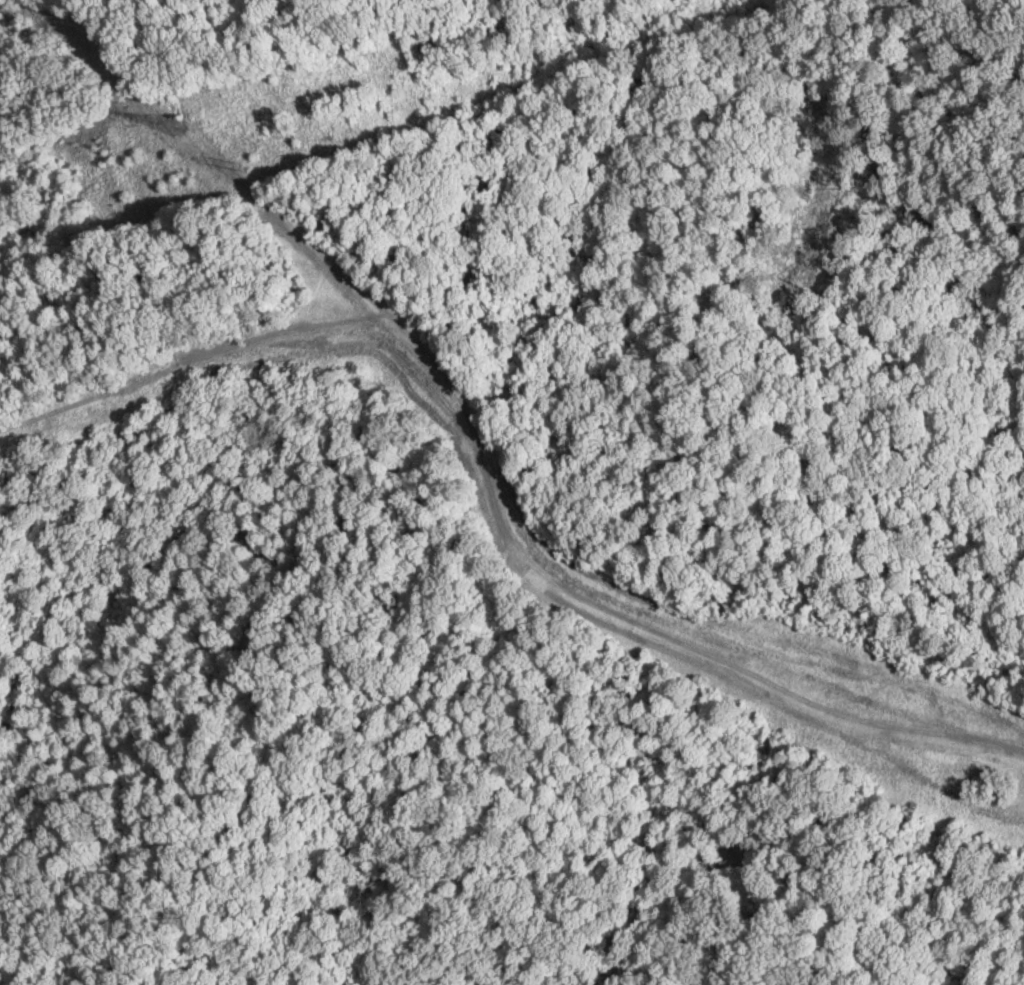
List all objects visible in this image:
power tower: (170, 129)
power tower: (241, 166)

